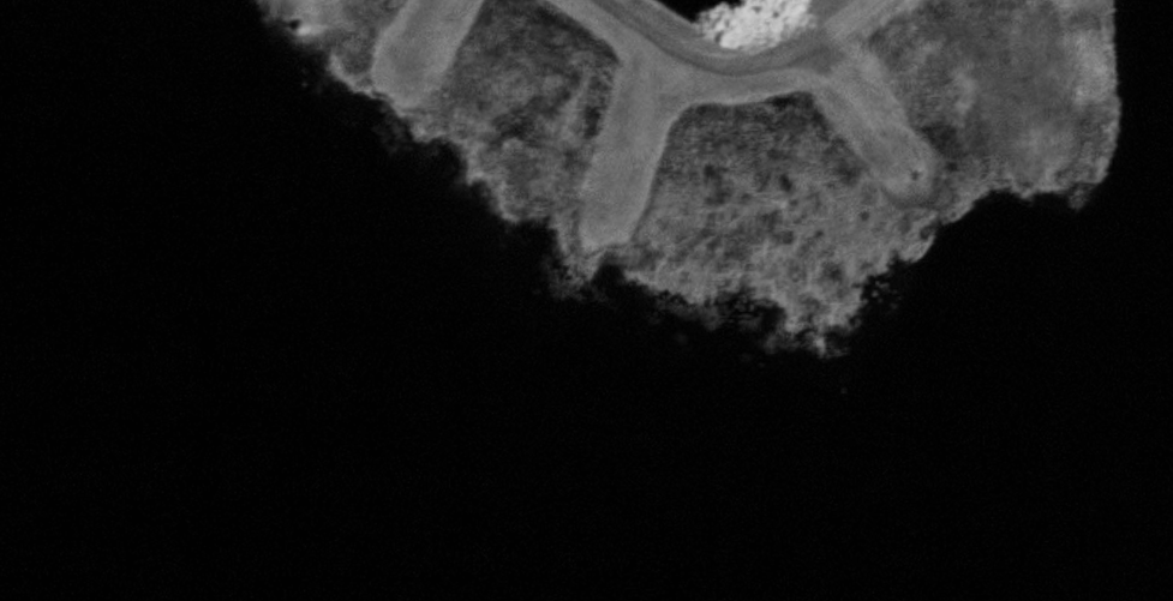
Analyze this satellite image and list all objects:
road: (741, 60)

